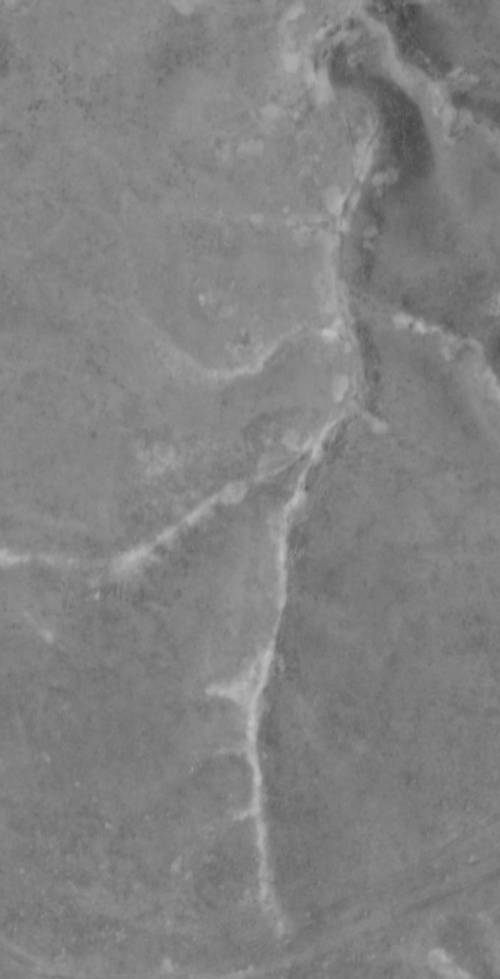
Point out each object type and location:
road: (350, 912)
road: (18, 959)
road: (42, 972)
road: (34, 975)

